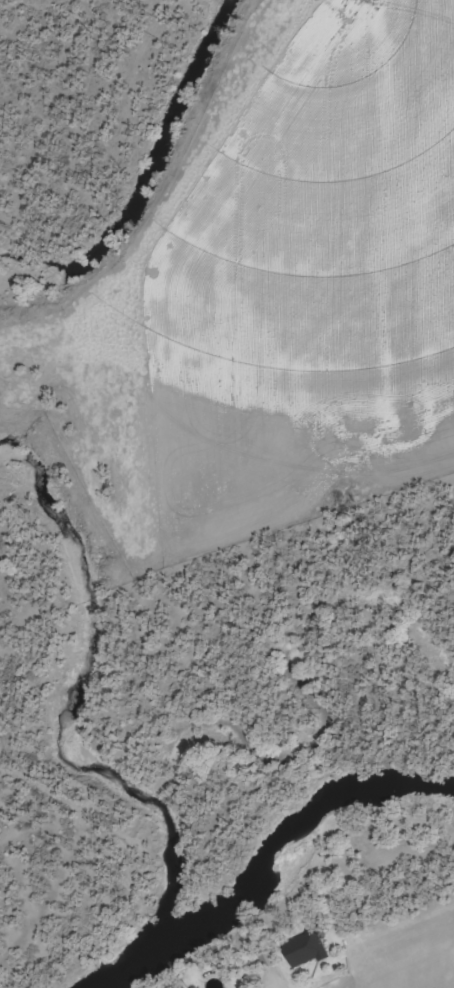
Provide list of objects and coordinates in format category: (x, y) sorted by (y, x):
building: (312, 948)

